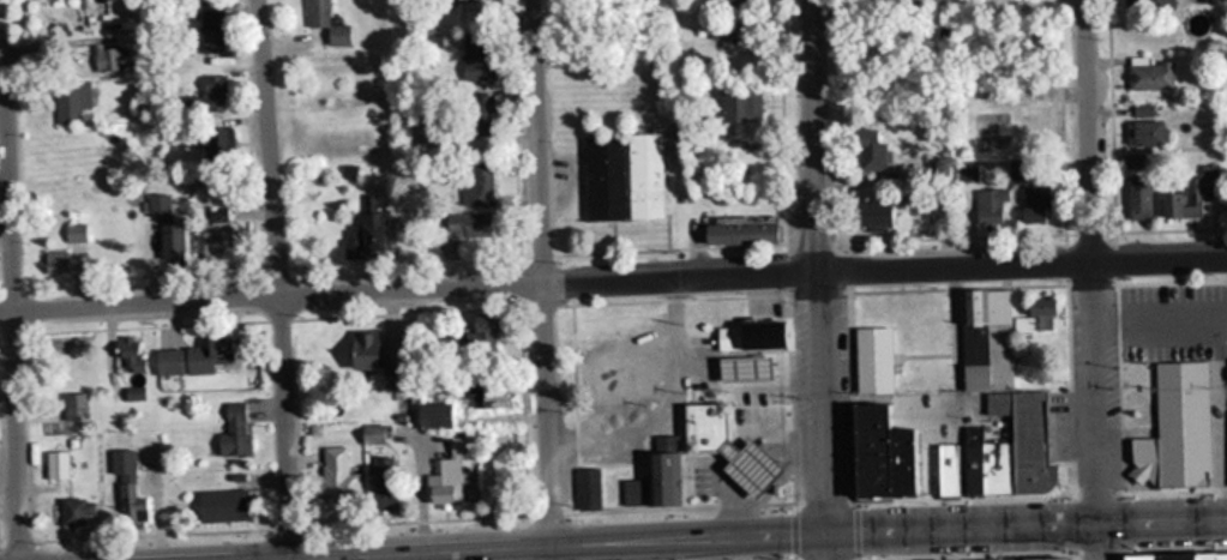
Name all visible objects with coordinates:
building: (726, 1)
building: (325, 23)
building: (209, 25)
building: (109, 59)
building: (476, 62)
building: (1149, 74)
building: (213, 90)
building: (68, 101)
building: (736, 106)
building: (480, 114)
road: (812, 128)
building: (1142, 132)
building: (213, 140)
building: (867, 150)
building: (621, 177)
building: (477, 183)
building: (1135, 187)
building: (1191, 194)
building: (1033, 205)
building: (991, 211)
building: (867, 217)
building: (468, 224)
building: (164, 228)
building: (736, 230)
building: (72, 233)
building: (366, 235)
building: (212, 236)
building: (53, 260)
road: (613, 270)
road: (539, 279)
road: (1088, 279)
road: (284, 290)
road: (393, 300)
road: (8, 308)
building: (479, 323)
building: (750, 335)
building: (480, 344)
building: (362, 350)
building: (126, 354)
building: (192, 356)
building: (868, 365)
building: (607, 383)
building: (1028, 391)
building: (131, 392)
building: (482, 395)
building: (1226, 399)
building: (72, 405)
road: (820, 408)
building: (432, 414)
building: (700, 426)
building: (1173, 428)
building: (231, 429)
building: (877, 453)
building: (52, 463)
building: (742, 465)
building: (441, 466)
building: (332, 470)
building: (383, 487)
building: (125, 488)
building: (585, 488)
building: (217, 505)
building: (72, 511)
road: (720, 534)
building: (1174, 556)
building: (1037, 559)

